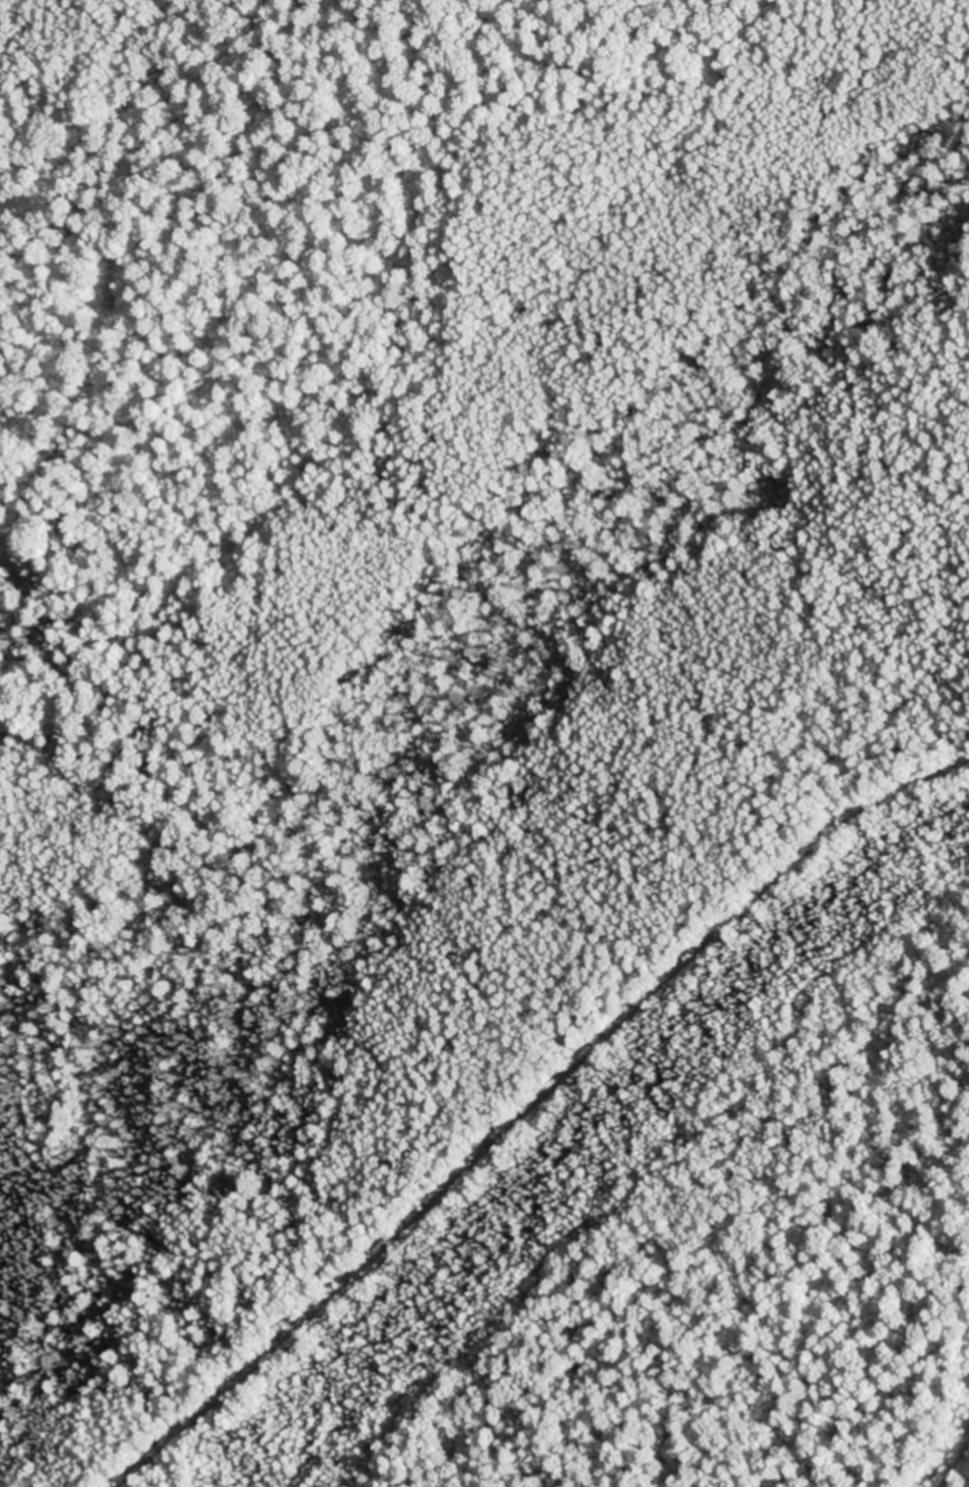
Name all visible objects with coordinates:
road: (507, 1105)

